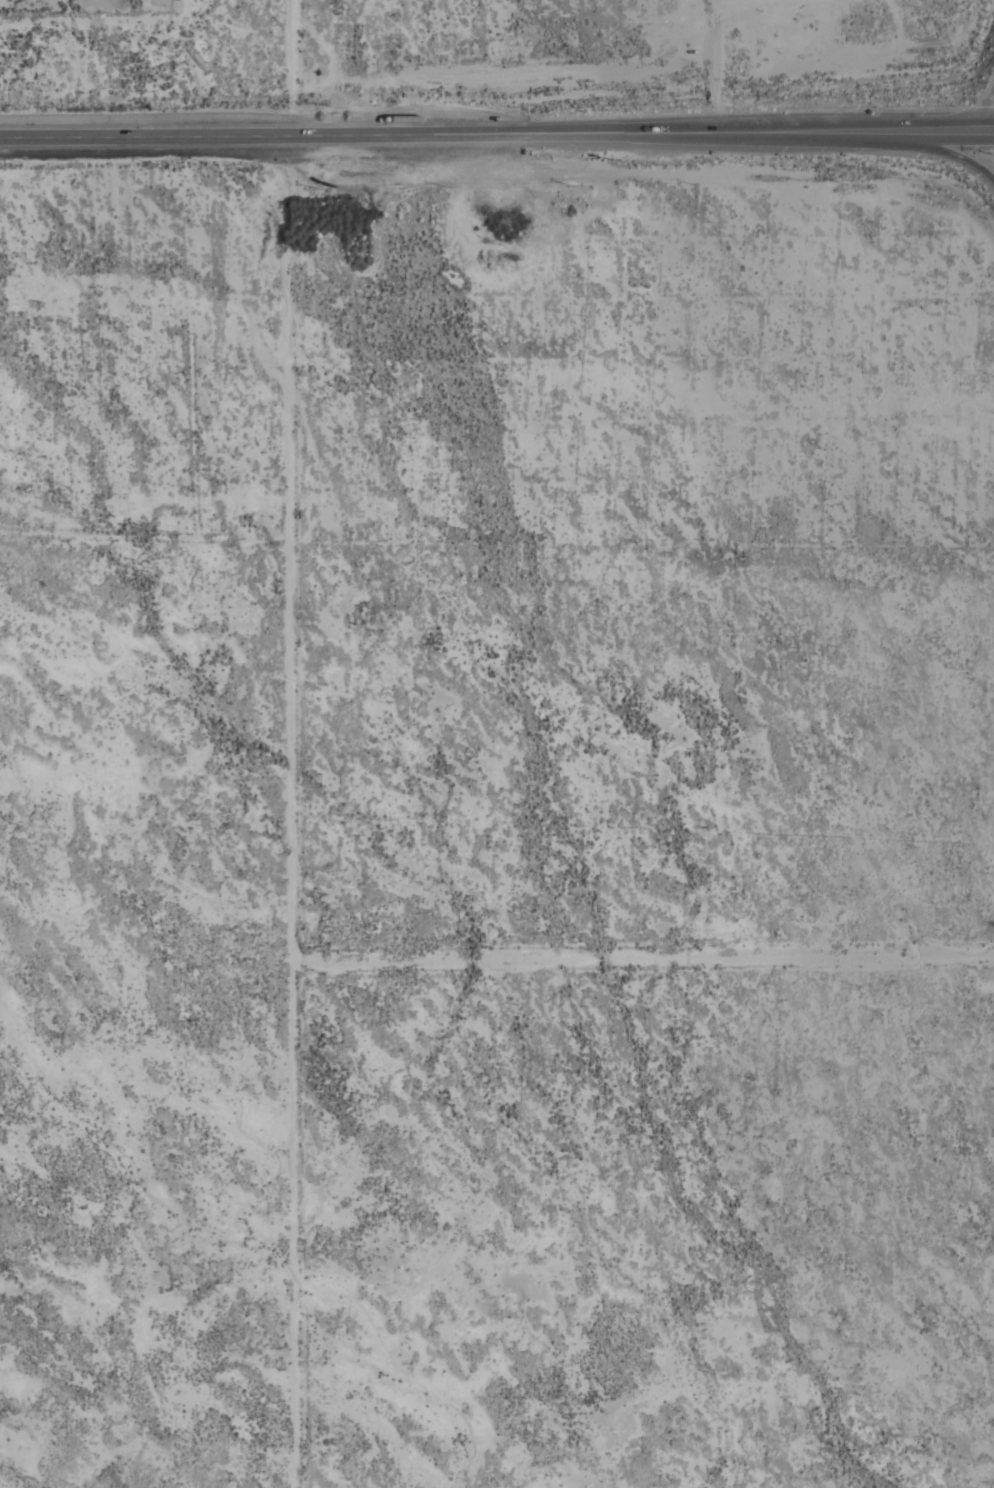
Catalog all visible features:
road: (991, 111)
road: (932, 129)
road: (992, 132)
railway: (476, 135)
railway: (466, 138)
road: (435, 142)
road: (935, 148)
railway: (781, 612)
railway: (777, 626)

